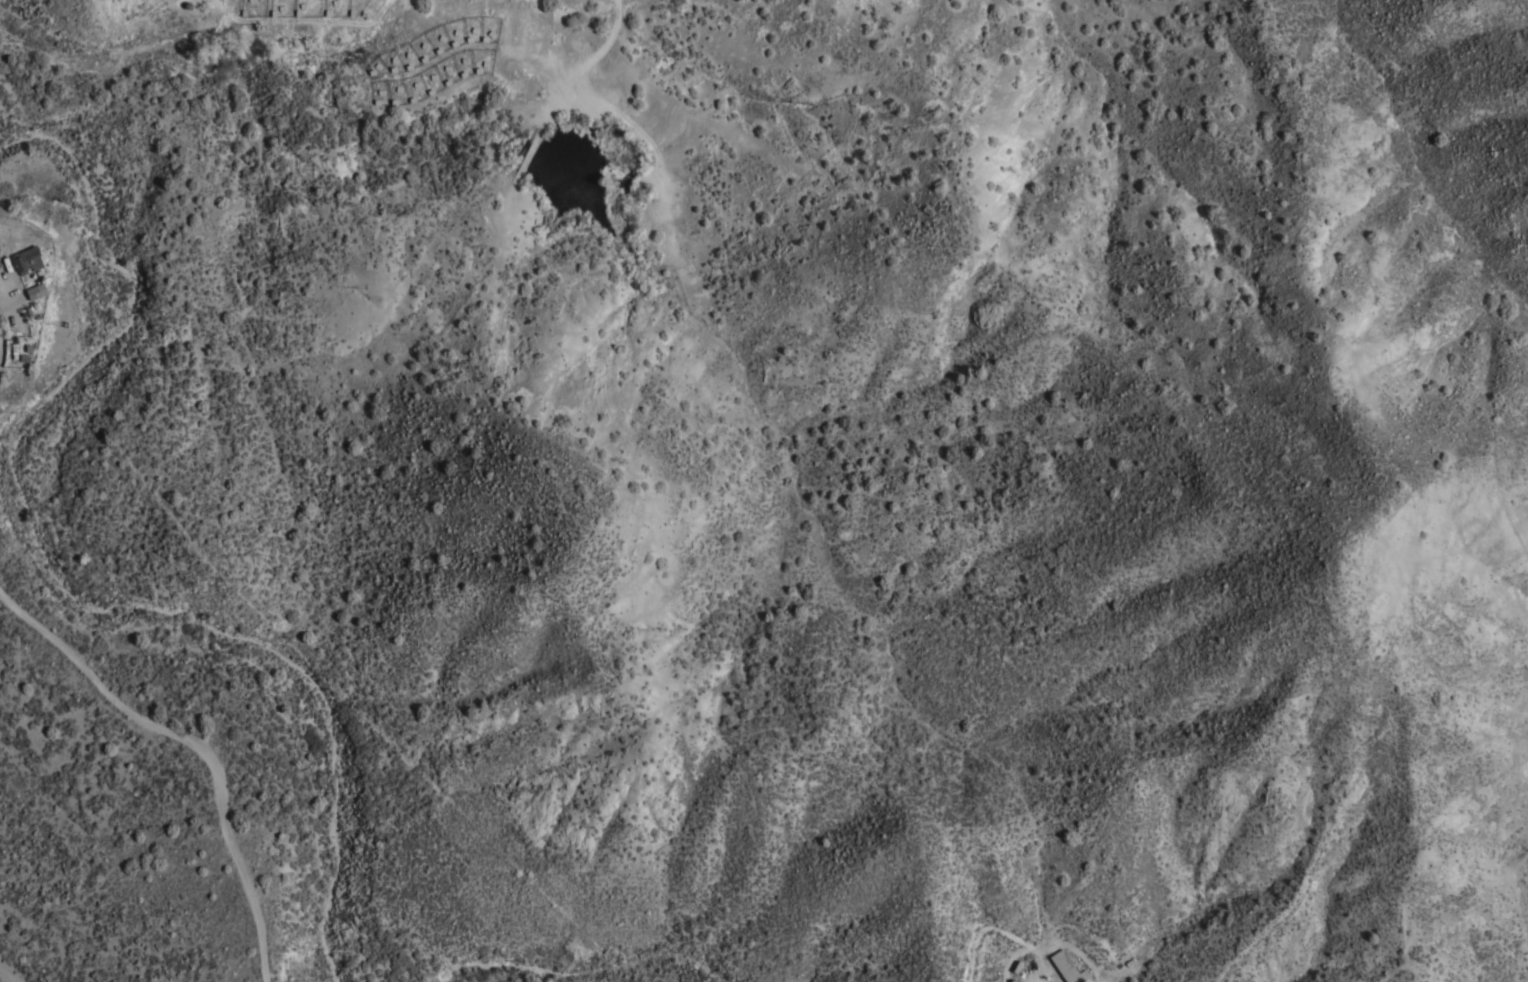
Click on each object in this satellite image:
building: (27, 260)
road: (198, 741)
road: (1071, 948)
building: (1068, 968)
road: (1037, 971)
road: (6, 976)

